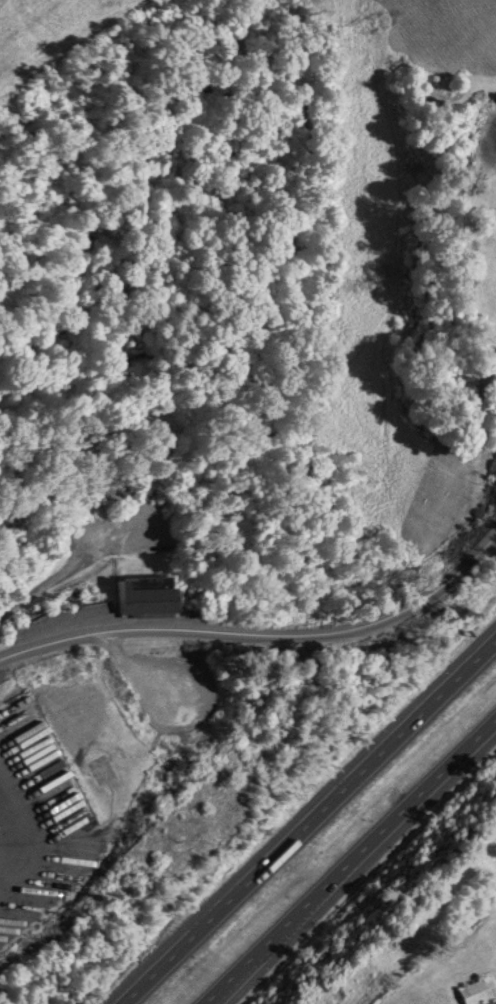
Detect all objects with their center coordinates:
building: (494, 260)
building: (140, 595)
road: (263, 630)
road: (308, 822)
road: (354, 866)
building: (477, 991)

